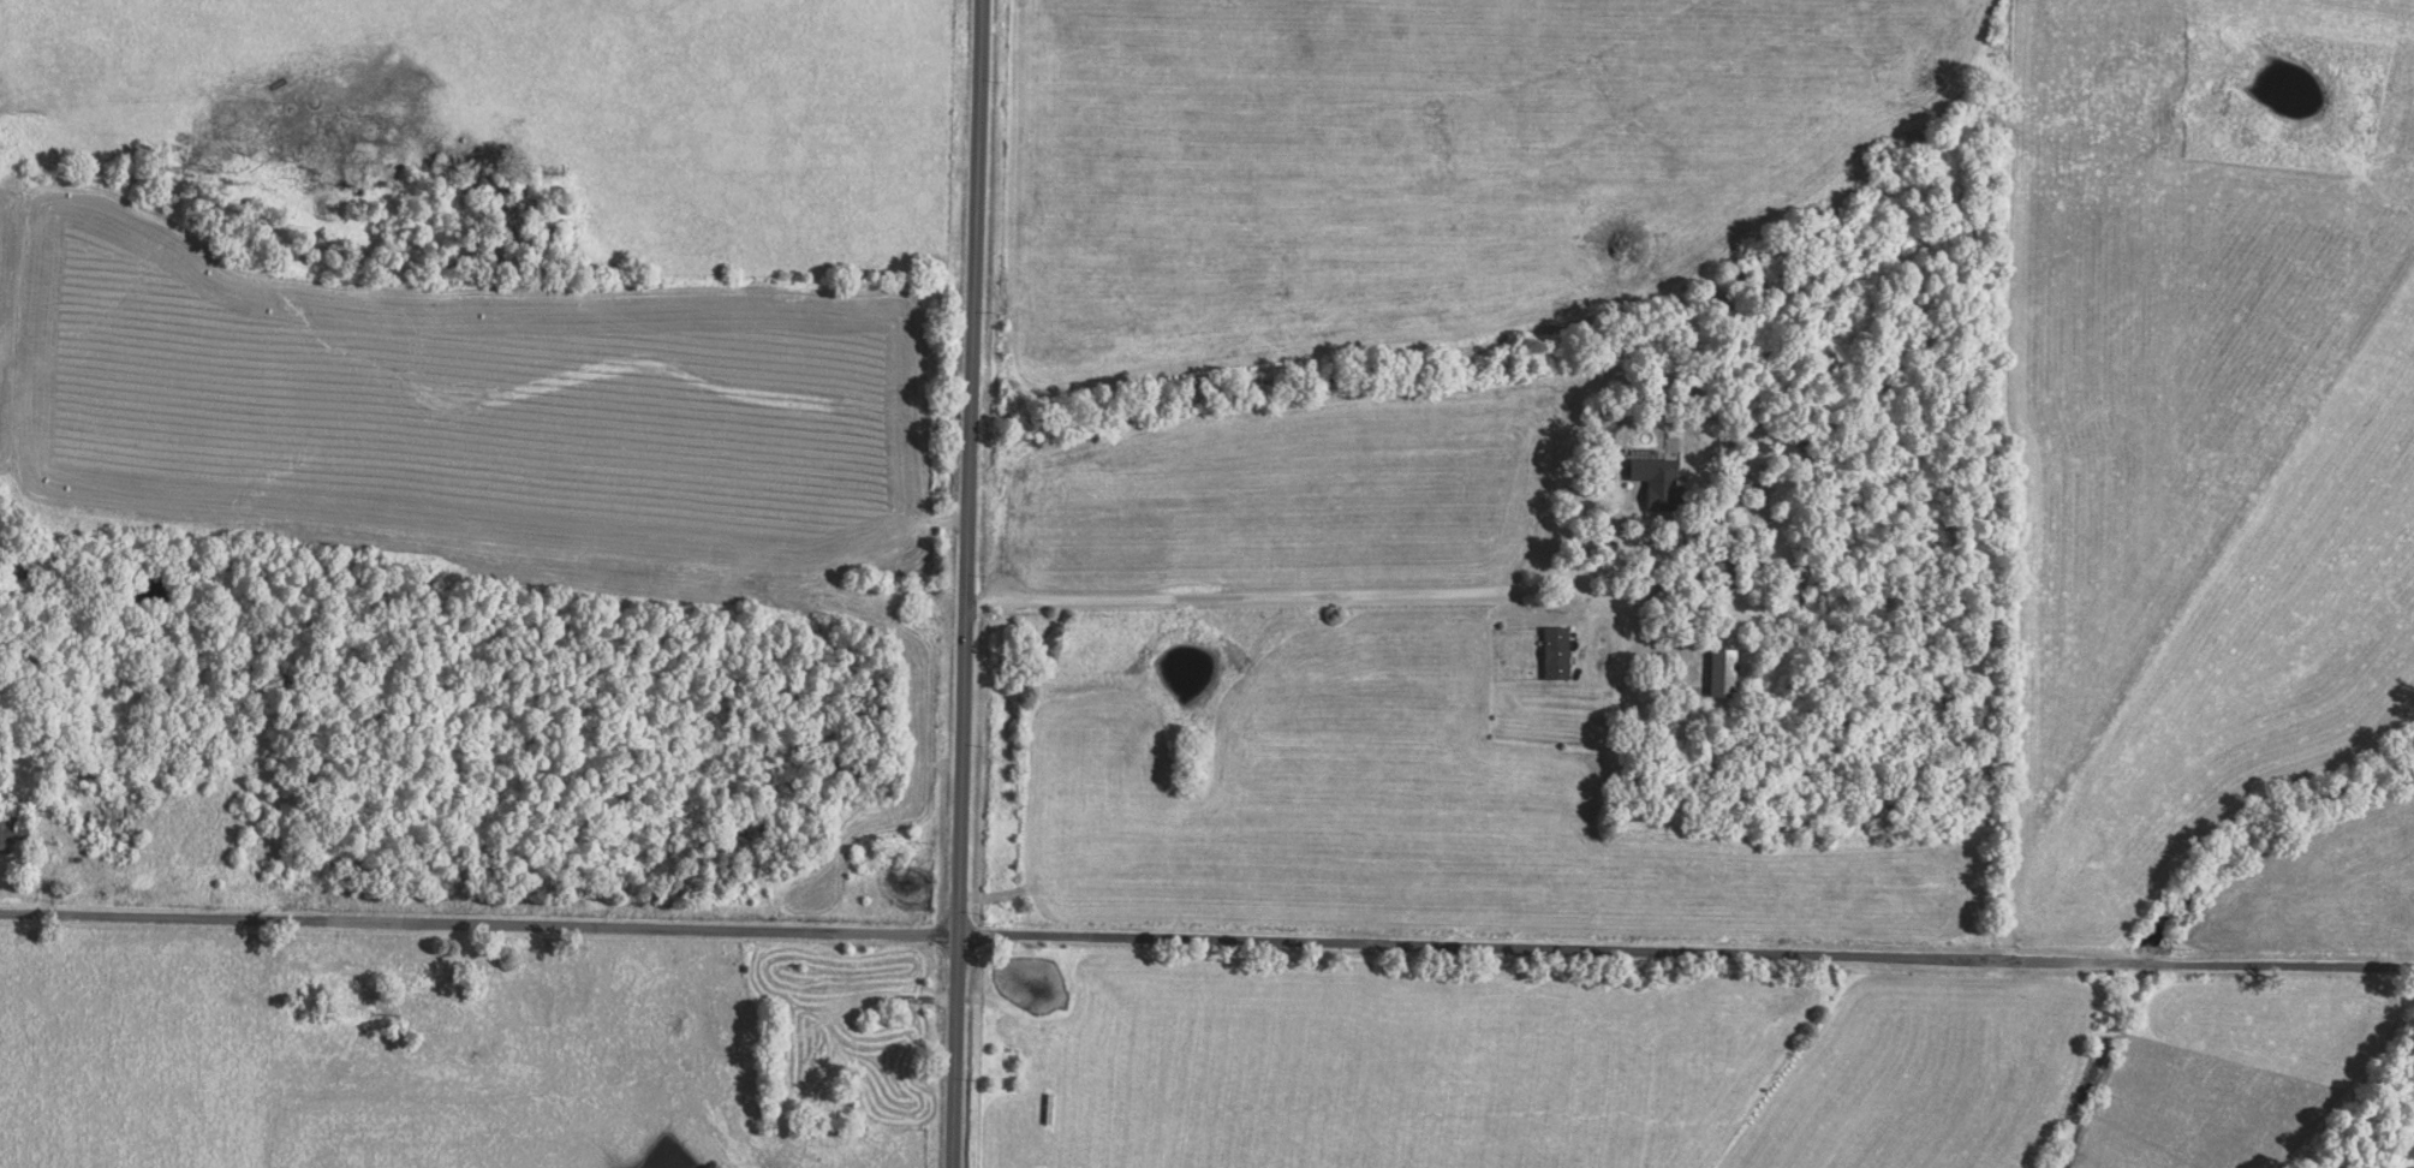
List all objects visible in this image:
building: (1655, 481)
building: (1725, 571)
road: (962, 584)
road: (1340, 595)
building: (1555, 652)
building: (1721, 672)
building: (10, 836)
road: (1206, 936)
road: (847, 1002)

